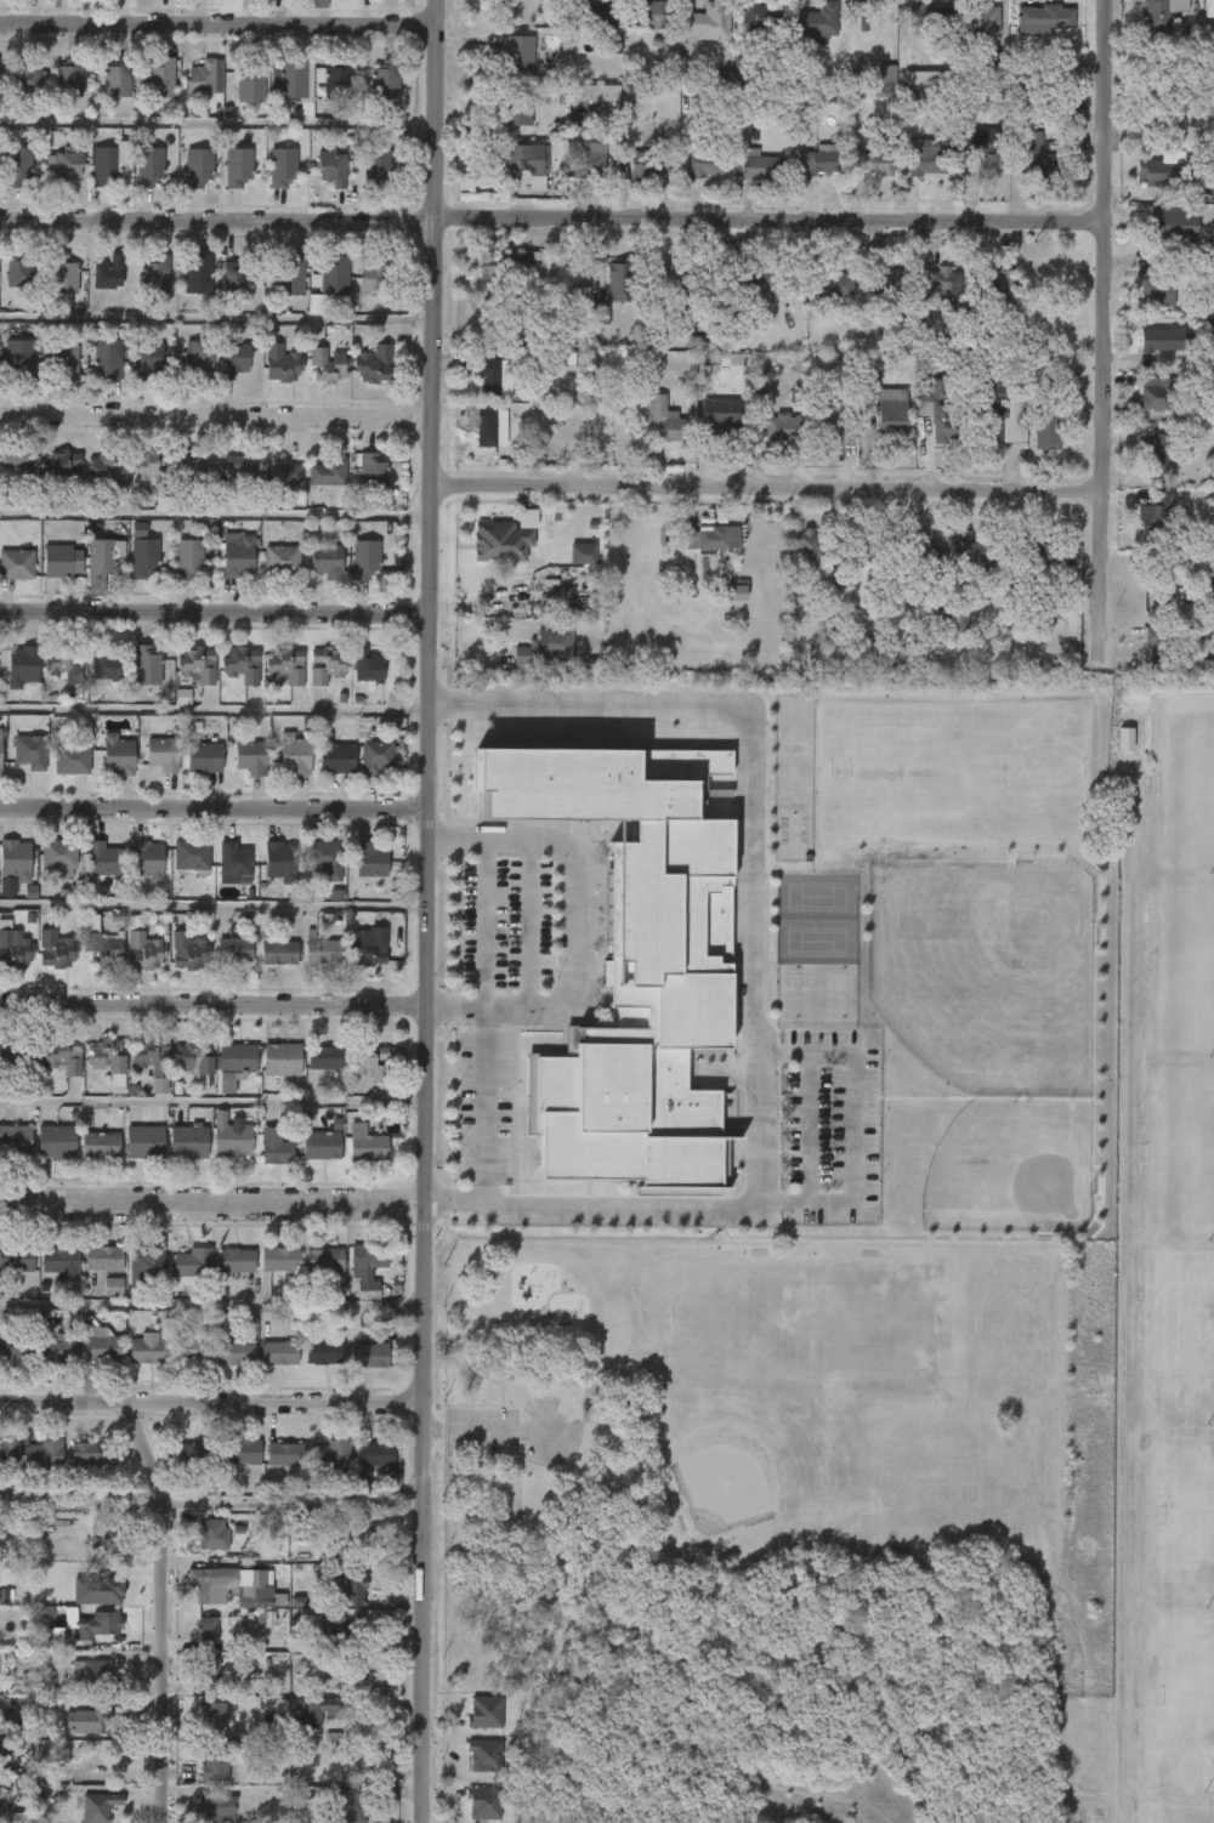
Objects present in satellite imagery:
building: (318, 4)
building: (1207, 13)
building: (654, 15)
building: (761, 15)
building: (595, 16)
building: (927, 16)
building: (1153, 16)
building: (982, 18)
building: (1045, 19)
building: (704, 22)
building: (815, 22)
road: (219, 28)
building: (613, 45)
building: (518, 55)
building: (995, 69)
building: (1062, 69)
building: (884, 72)
building: (24, 75)
building: (66, 76)
building: (115, 76)
building: (157, 76)
building: (198, 78)
building: (920, 78)
building: (288, 79)
building: (335, 79)
building: (382, 80)
building: (249, 83)
building: (594, 93)
building: (521, 112)
building: (1202, 118)
road: (219, 123)
building: (981, 152)
building: (588, 155)
building: (1038, 157)
building: (817, 160)
building: (873, 161)
building: (925, 161)
building: (526, 163)
building: (647, 164)
building: (17, 165)
building: (62, 165)
building: (101, 165)
building: (707, 165)
building: (147, 166)
building: (238, 166)
building: (760, 166)
building: (199, 167)
building: (280, 167)
building: (330, 169)
building: (374, 169)
building: (1151, 172)
building: (1210, 178)
road: (767, 217)
road: (217, 222)
building: (1173, 226)
building: (520, 269)
building: (18, 272)
building: (109, 273)
building: (155, 274)
building: (63, 276)
building: (199, 276)
building: (333, 276)
building: (291, 277)
building: (375, 277)
building: (1004, 279)
building: (617, 280)
building: (894, 280)
building: (943, 280)
building: (237, 282)
building: (832, 282)
building: (671, 283)
building: (749, 284)
building: (1153, 285)
building: (708, 290)
building: (597, 316)
road: (1100, 316)
road: (216, 318)
building: (1159, 339)
building: (199, 357)
building: (19, 358)
building: (64, 359)
building: (107, 359)
building: (148, 359)
building: (236, 360)
building: (284, 364)
building: (375, 364)
building: (329, 365)
building: (492, 376)
building: (1155, 392)
building: (720, 414)
building: (937, 414)
road: (216, 415)
building: (662, 420)
building: (890, 420)
building: (1002, 420)
building: (832, 424)
building: (1045, 426)
building: (775, 427)
building: (483, 428)
building: (847, 437)
building: (1159, 453)
building: (18, 458)
building: (240, 465)
building: (63, 466)
building: (108, 466)
building: (153, 466)
building: (189, 468)
building: (329, 472)
building: (373, 472)
building: (284, 473)
road: (766, 489)
road: (215, 515)
building: (1152, 517)
building: (137, 530)
building: (710, 538)
building: (499, 541)
building: (804, 550)
building: (861, 551)
building: (582, 553)
building: (103, 555)
building: (143, 556)
building: (1044, 556)
building: (189, 557)
building: (239, 557)
building: (368, 558)
building: (921, 558)
building: (57, 560)
building: (282, 560)
building: (328, 560)
building: (980, 562)
building: (17, 563)
building: (734, 594)
road: (215, 613)
building: (961, 623)
building: (1156, 644)
building: (862, 646)
building: (545, 647)
building: (64, 663)
building: (104, 664)
building: (23, 665)
building: (144, 665)
building: (194, 665)
building: (238, 665)
building: (283, 665)
building: (324, 665)
building: (1198, 665)
building: (365, 668)
building: (182, 697)
road: (214, 709)
building: (1124, 739)
building: (28, 753)
building: (163, 754)
building: (295, 754)
building: (119, 755)
building: (253, 755)
building: (0, 757)
building: (204, 757)
building: (376, 757)
building: (337, 759)
building: (69, 760)
park: (944, 771)
park: (1187, 782)
road: (214, 810)
building: (192, 854)
building: (324, 854)
building: (56, 857)
building: (15, 859)
building: (98, 859)
building: (371, 861)
building: (143, 862)
building: (280, 862)
building: (236, 863)
park: (815, 896)
road: (212, 907)
road: (425, 910)
road: (572, 924)
road: (526, 926)
park: (815, 941)
building: (97, 943)
building: (140, 948)
building: (370, 948)
building: (12, 949)
building: (55, 949)
building: (232, 950)
building: (186, 952)
building: (323, 952)
building: (279, 953)
park: (1182, 964)
road: (754, 965)
building: (635, 966)
park: (983, 973)
road: (212, 1004)
road: (482, 1022)
building: (18, 1052)
building: (63, 1055)
building: (152, 1055)
building: (194, 1057)
building: (327, 1057)
building: (108, 1058)
building: (283, 1058)
building: (371, 1062)
building: (232, 1063)
building: (159, 1085)
road: (211, 1103)
building: (234, 1138)
building: (15, 1140)
building: (57, 1142)
building: (146, 1142)
building: (189, 1142)
building: (367, 1145)
building: (101, 1146)
building: (323, 1146)
building: (276, 1148)
park: (1185, 1151)
park: (1009, 1169)
road: (211, 1198)
building: (15, 1257)
building: (375, 1257)
building: (101, 1259)
building: (325, 1260)
building: (59, 1261)
building: (144, 1261)
building: (237, 1261)
building: (189, 1263)
building: (278, 1263)
building: (112, 1288)
park: (1148, 1293)
road: (1131, 1295)
road: (210, 1305)
park: (1186, 1330)
building: (101, 1346)
building: (16, 1347)
building: (61, 1347)
building: (192, 1348)
building: (327, 1350)
building: (148, 1351)
building: (238, 1351)
building: (279, 1353)
building: (370, 1356)
park: (800, 1391)
road: (210, 1398)
road: (486, 1427)
road: (149, 1448)
building: (7, 1452)
building: (239, 1452)
building: (86, 1453)
building: (282, 1454)
building: (371, 1454)
building: (191, 1455)
building: (329, 1455)
building: (40, 1456)
park: (755, 1469)
road: (295, 1499)
park: (1186, 1516)
building: (307, 1528)
building: (214, 1533)
building: (106, 1535)
road: (363, 1555)
building: (223, 1588)
building: (346, 1589)
building: (97, 1590)
building: (4, 1595)
building: (97, 1624)
building: (211, 1629)
building: (331, 1632)
building: (49, 1637)
road: (171, 1660)
building: (209, 1665)
building: (95, 1671)
park: (1186, 1700)
building: (322, 1708)
building: (488, 1711)
building: (206, 1719)
building: (87, 1720)
building: (10, 1722)
building: (488, 1755)
building: (212, 1764)
building: (488, 1802)
building: (100, 1807)
building: (216, 1807)
building: (351, 1810)
park: (1184, 1813)

